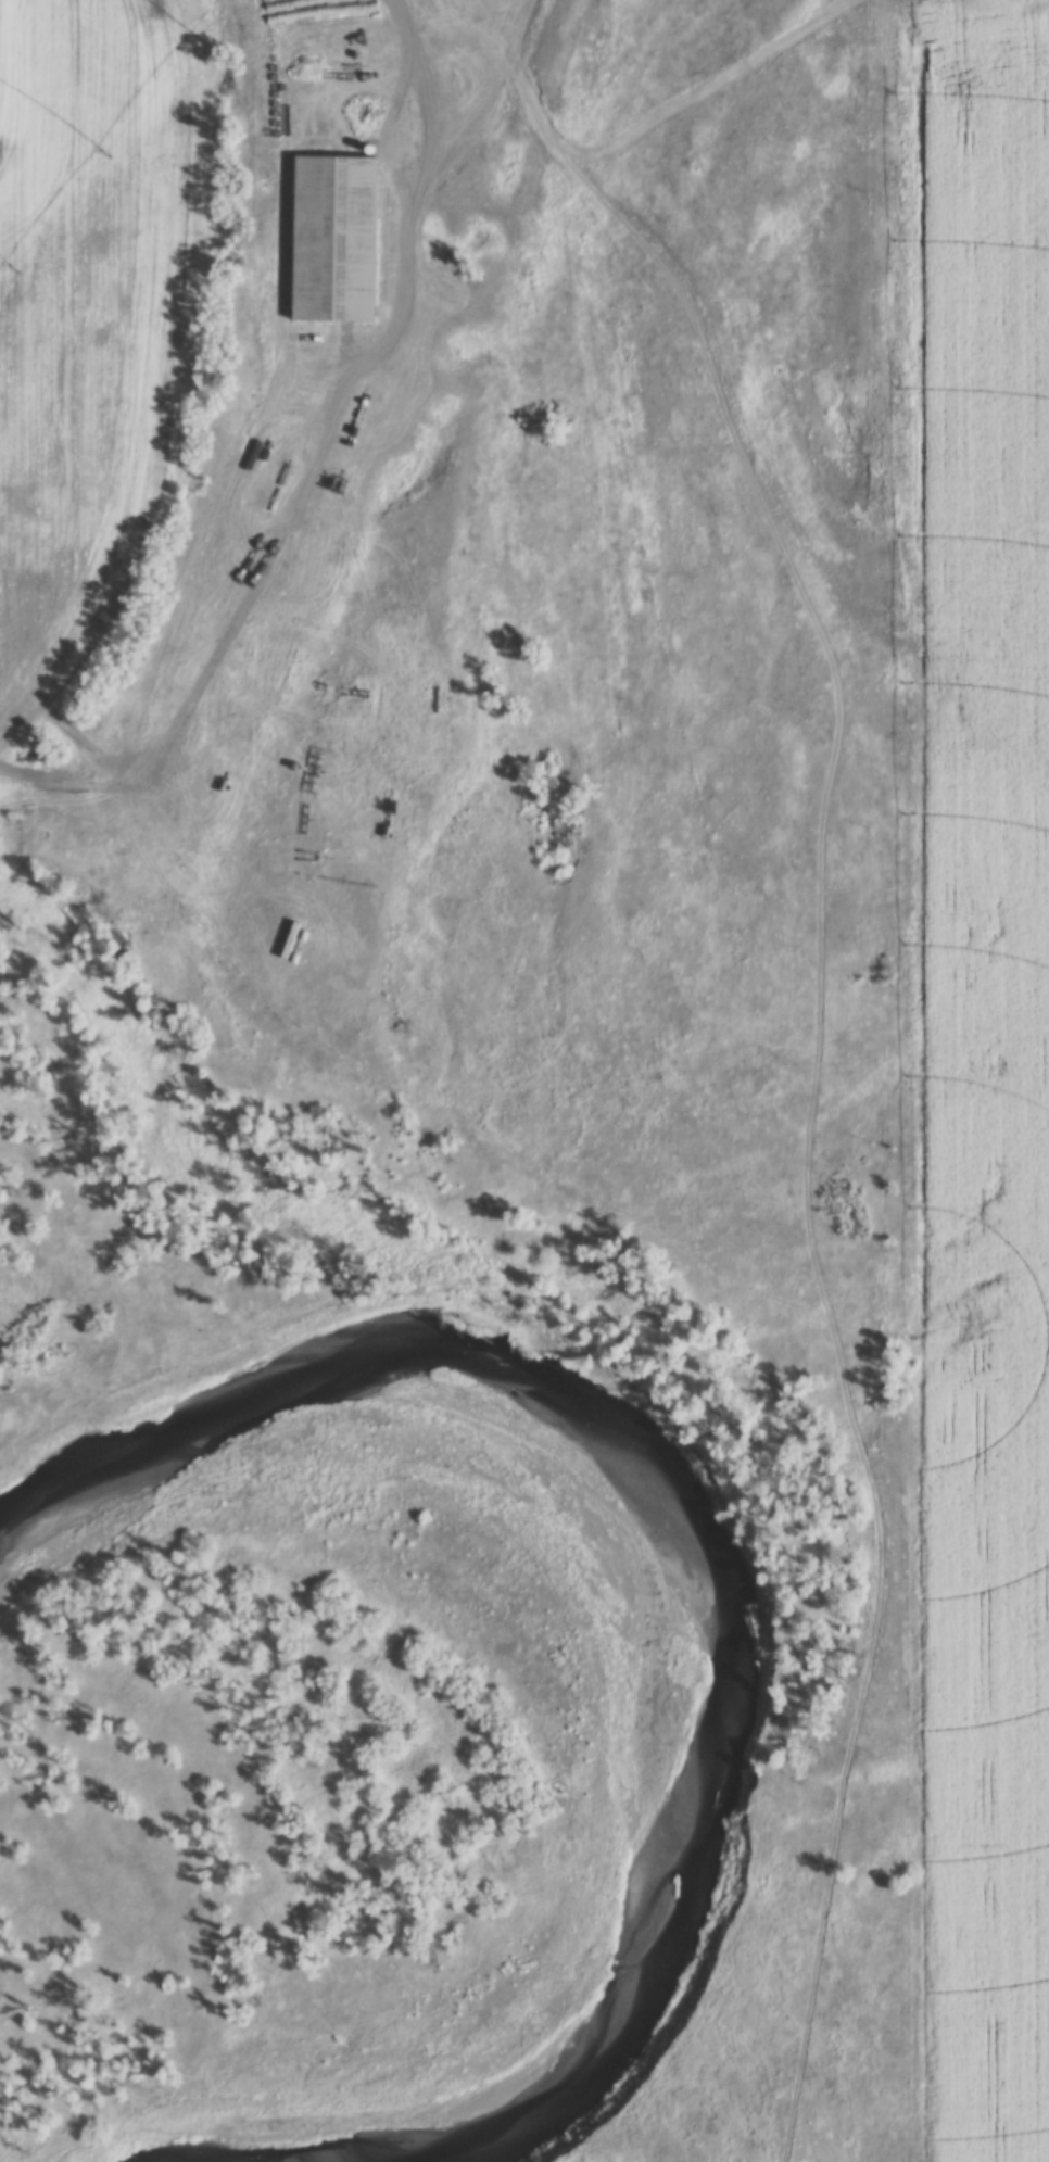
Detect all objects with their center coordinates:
road: (694, 282)
road: (255, 439)

